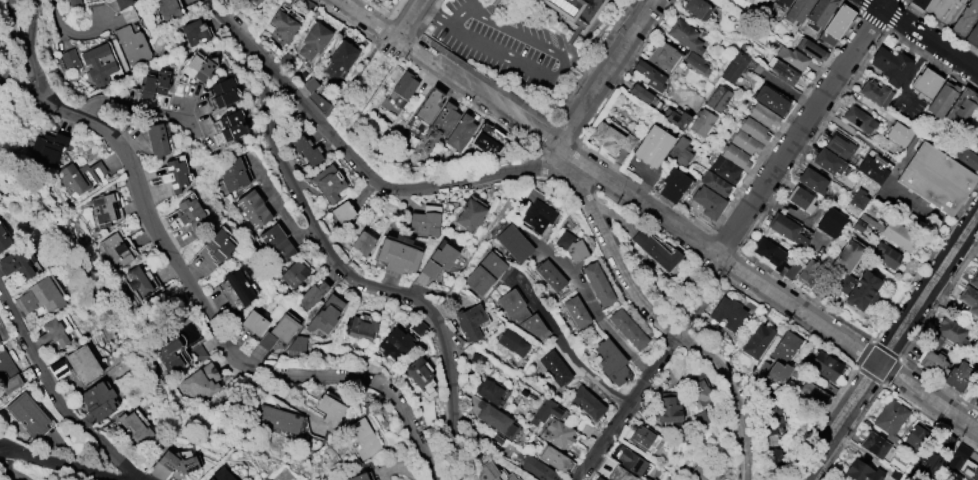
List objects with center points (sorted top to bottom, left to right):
building: (75, 3)
building: (118, 3)
building: (783, 3)
building: (254, 4)
road: (886, 5)
building: (751, 7)
building: (698, 8)
building: (938, 8)
building: (170, 9)
road: (488, 11)
building: (576, 11)
building: (796, 13)
building: (819, 13)
building: (965, 18)
road: (412, 21)
road: (13, 23)
building: (286, 23)
building: (836, 25)
building: (196, 32)
road: (515, 32)
building: (685, 34)
road: (922, 36)
building: (973, 37)
building: (315, 40)
road: (13, 42)
road: (487, 44)
building: (132, 45)
building: (812, 49)
parking lot: (508, 51)
building: (663, 56)
building: (793, 57)
building: (70, 59)
building: (342, 59)
building: (99, 61)
building: (696, 61)
building: (891, 64)
building: (733, 66)
building: (198, 67)
road: (604, 72)
building: (785, 72)
building: (650, 74)
building: (924, 82)
building: (312, 84)
building: (154, 85)
building: (402, 87)
building: (224, 92)
building: (875, 92)
building: (640, 93)
building: (719, 98)
building: (941, 98)
building: (771, 99)
building: (429, 104)
building: (658, 104)
road: (135, 107)
building: (963, 107)
building: (763, 115)
building: (677, 118)
building: (858, 118)
building: (702, 121)
building: (441, 124)
building: (232, 125)
road: (531, 128)
building: (460, 131)
road: (798, 131)
building: (898, 133)
building: (750, 135)
building: (612, 136)
building: (488, 139)
building: (157, 140)
building: (838, 144)
building: (652, 145)
building: (49, 146)
building: (306, 149)
building: (680, 152)
building: (736, 156)
building: (968, 157)
building: (829, 161)
building: (724, 168)
building: (871, 169)
road: (505, 171)
building: (175, 174)
building: (233, 174)
building: (78, 176)
building: (937, 178)
building: (812, 180)
building: (329, 182)
building: (715, 183)
building: (673, 184)
building: (802, 198)
building: (858, 198)
building: (709, 201)
building: (254, 208)
building: (104, 209)
building: (343, 211)
building: (190, 213)
building: (471, 214)
building: (537, 214)
building: (915, 218)
building: (871, 221)
building: (425, 222)
building: (831, 222)
building: (858, 224)
building: (786, 229)
building: (899, 235)
building: (4, 239)
building: (277, 242)
building: (363, 242)
building: (513, 242)
building: (218, 243)
building: (571, 245)
building: (118, 248)
building: (656, 249)
building: (768, 251)
road: (330, 254)
building: (885, 254)
building: (398, 255)
building: (846, 255)
building: (439, 260)
building: (16, 264)
building: (788, 268)
building: (485, 272)
building: (810, 272)
building: (295, 273)
building: (549, 274)
building: (974, 279)
building: (139, 280)
building: (598, 283)
road: (188, 285)
building: (240, 286)
road: (711, 287)
road: (928, 287)
building: (858, 288)
building: (312, 295)
building: (39, 296)
building: (970, 299)
building: (511, 301)
road: (589, 301)
building: (576, 310)
building: (728, 311)
building: (325, 313)
building: (254, 322)
building: (471, 322)
building: (533, 324)
building: (417, 326)
building: (284, 327)
building: (359, 327)
building: (627, 327)
building: (951, 331)
building: (53, 332)
building: (934, 338)
building: (267, 340)
building: (757, 340)
building: (0, 342)
building: (395, 342)
building: (513, 342)
road: (850, 344)
building: (297, 345)
road: (563, 345)
building: (785, 345)
road: (492, 350)
building: (169, 354)
building: (477, 357)
building: (611, 360)
building: (83, 363)
building: (932, 363)
building: (825, 365)
building: (555, 366)
building: (57, 367)
building: (760, 370)
building: (417, 371)
building: (778, 371)
building: (12, 373)
building: (958, 375)
building: (203, 381)
building: (487, 389)
building: (815, 391)
building: (698, 392)
road: (55, 396)
road: (731, 396)
building: (99, 400)
building: (977, 401)
building: (588, 402)
road: (625, 405)
building: (670, 406)
building: (330, 409)
building: (544, 411)
building: (771, 413)
building: (29, 414)
building: (278, 418)
building: (496, 419)
building: (890, 419)
building: (702, 420)
road: (840, 421)
building: (135, 427)
building: (556, 432)
building: (644, 436)
building: (915, 436)
building: (364, 437)
building: (874, 444)
building: (774, 452)
building: (933, 457)
building: (957, 457)
building: (555, 458)
building: (632, 461)
road: (64, 462)
building: (178, 462)
building: (539, 468)
building: (488, 471)
building: (861, 471)
road: (9, 473)
building: (704, 473)
building: (620, 474)
building: (970, 474)
building: (222, 475)
building: (358, 476)
building: (510, 477)
building: (526, 479)
building: (602, 479)
building: (671, 479)

